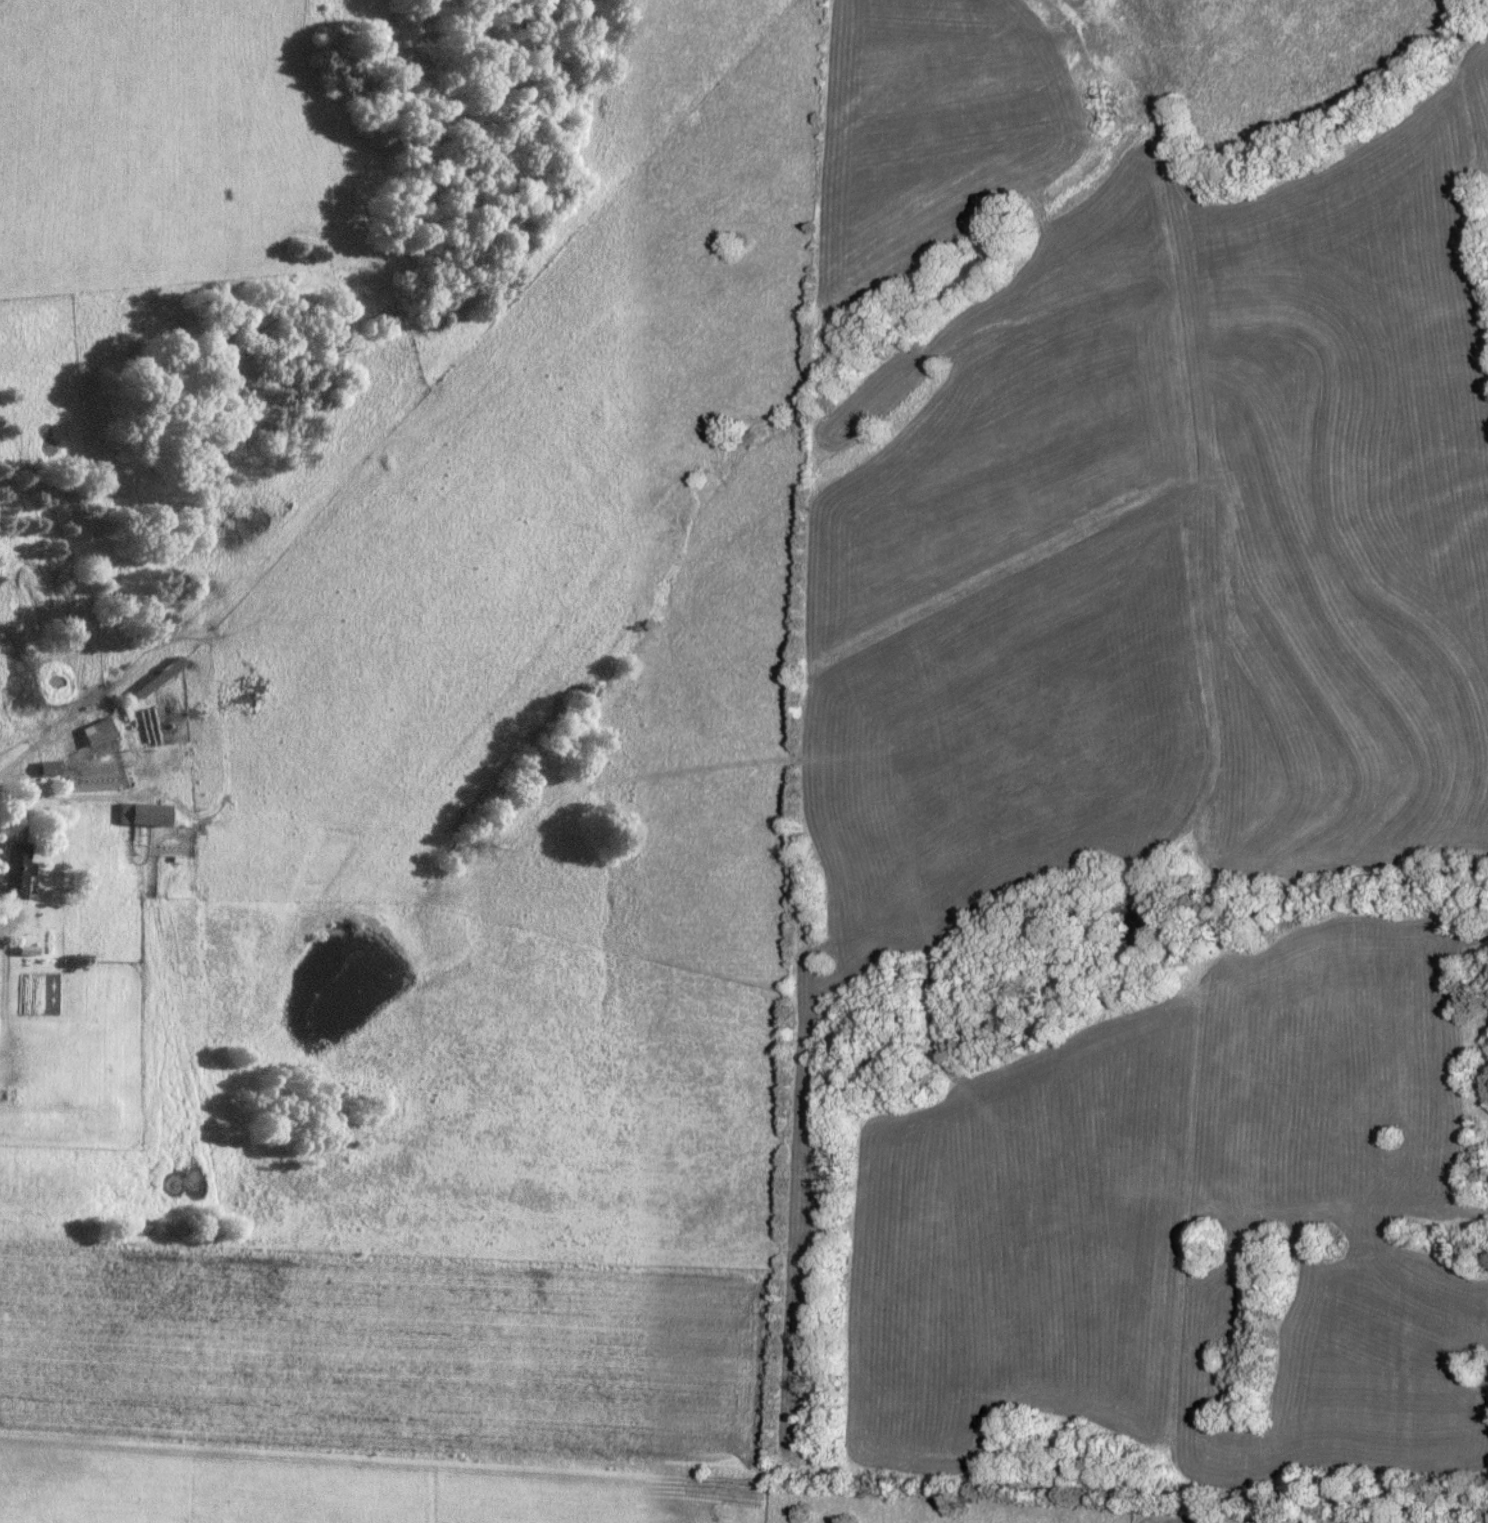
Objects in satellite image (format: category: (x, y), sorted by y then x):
building: (98, 734)
building: (145, 816)
building: (16, 872)

